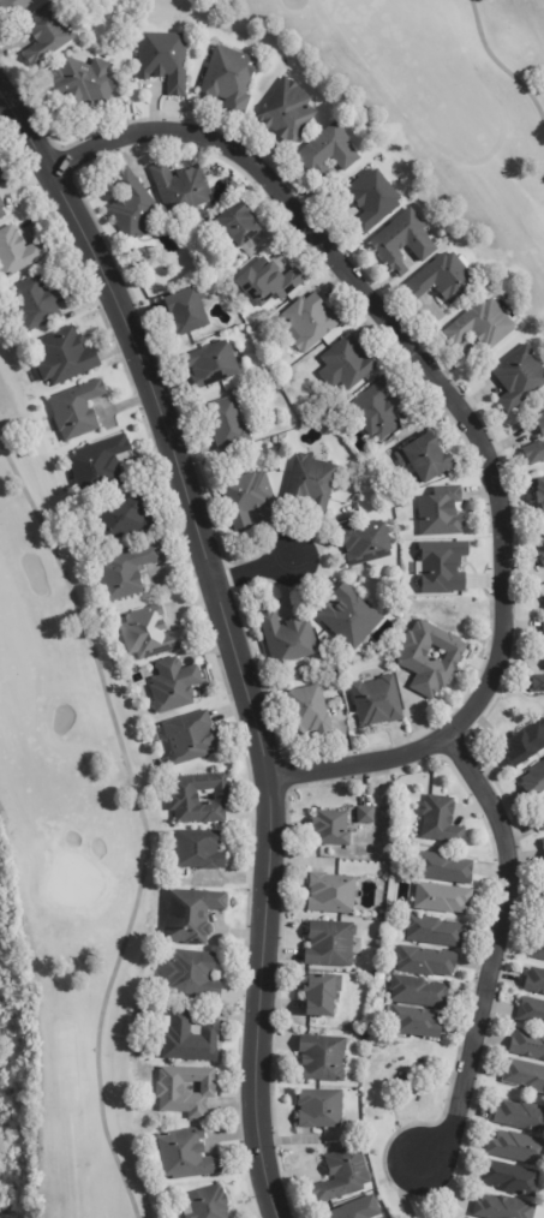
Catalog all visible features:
building: (14, 7)
building: (48, 34)
building: (166, 61)
building: (231, 79)
building: (86, 80)
park: (429, 101)
building: (288, 113)
building: (329, 154)
building: (2, 175)
building: (181, 190)
building: (375, 201)
building: (133, 207)
building: (2, 208)
building: (239, 226)
building: (403, 241)
building: (18, 251)
building: (443, 279)
building: (269, 282)
building: (38, 301)
building: (189, 314)
building: (309, 323)
building: (483, 326)
building: (66, 356)
building: (349, 363)
building: (214, 365)
building: (520, 378)
road: (464, 400)
building: (78, 410)
building: (378, 411)
building: (540, 423)
building: (228, 425)
building: (534, 454)
building: (426, 460)
building: (101, 465)
building: (311, 483)
building: (539, 490)
building: (247, 498)
building: (442, 513)
building: (125, 517)
building: (543, 537)
building: (367, 544)
building: (543, 557)
building: (441, 567)
building: (128, 571)
road: (253, 574)
building: (543, 608)
building: (349, 619)
road: (228, 632)
building: (151, 634)
building: (288, 639)
building: (430, 658)
building: (175, 685)
building: (538, 686)
building: (379, 704)
building: (310, 712)
building: (191, 738)
building: (527, 744)
building: (534, 782)
building: (201, 799)
building: (366, 814)
building: (542, 820)
building: (442, 822)
building: (333, 829)
building: (543, 848)
building: (201, 849)
park: (62, 865)
building: (446, 868)
building: (331, 894)
building: (444, 898)
building: (192, 915)
building: (542, 924)
building: (435, 931)
building: (331, 943)
road: (497, 949)
building: (539, 949)
building: (426, 962)
building: (192, 974)
building: (536, 981)
building: (422, 992)
building: (321, 996)
building: (531, 1011)
building: (417, 1021)
building: (190, 1037)
building: (527, 1045)
building: (324, 1058)
building: (525, 1075)
building: (186, 1091)
building: (321, 1109)
building: (520, 1116)
building: (516, 1148)
building: (189, 1156)
building: (343, 1177)
building: (512, 1178)
building: (209, 1204)
building: (502, 1207)
building: (360, 1210)
park: (543, 1214)

